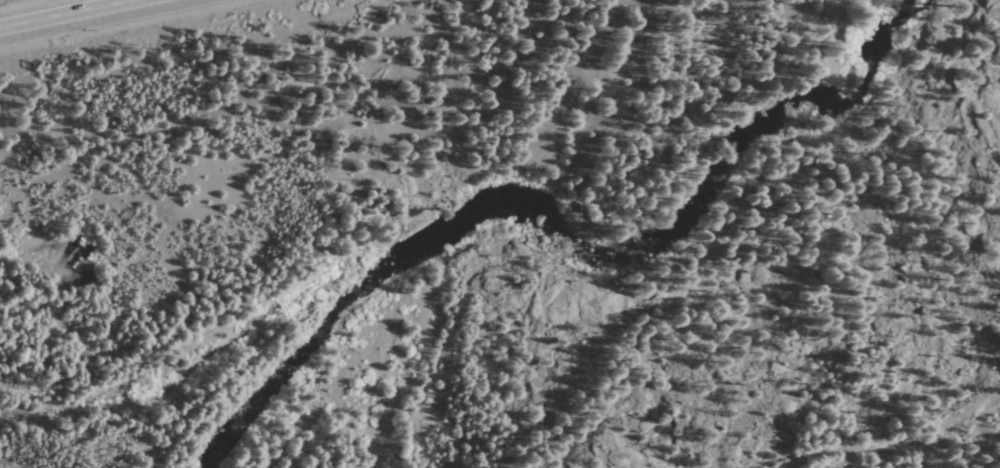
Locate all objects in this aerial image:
road: (80, 16)
river: (808, 106)
river: (445, 229)
river: (107, 381)
road: (894, 445)

